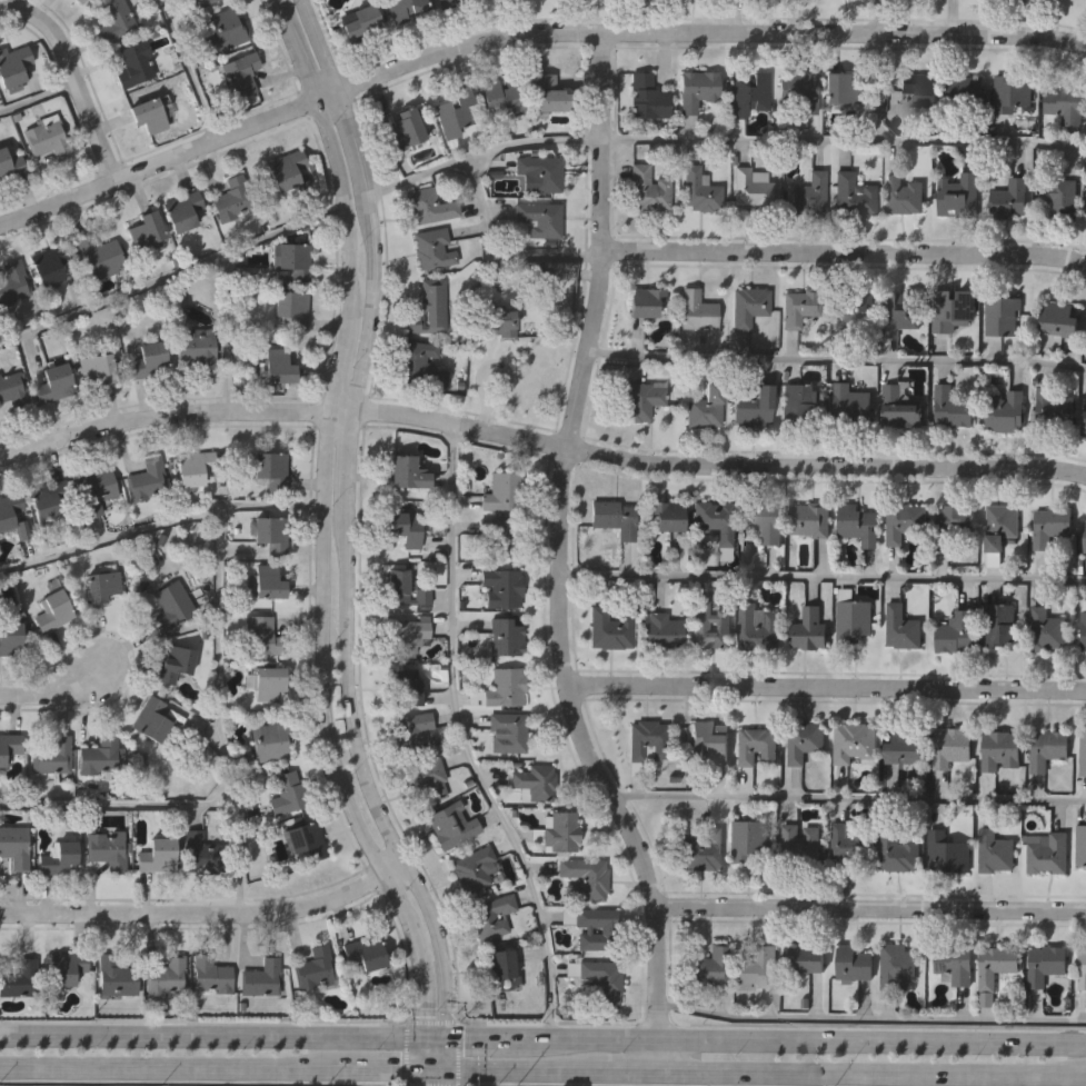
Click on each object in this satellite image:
building: (80, 0)
building: (448, 2)
building: (203, 3)
building: (405, 8)
building: (113, 20)
building: (359, 22)
building: (226, 29)
road: (526, 33)
building: (137, 63)
building: (13, 66)
road: (188, 69)
road: (876, 71)
building: (240, 72)
road: (71, 76)
building: (919, 87)
building: (840, 88)
building: (697, 89)
building: (798, 89)
building: (964, 90)
building: (1013, 91)
building: (749, 92)
building: (550, 94)
building: (501, 97)
building: (647, 97)
road: (37, 99)
building: (1066, 103)
building: (457, 110)
building: (147, 114)
building: (405, 129)
building: (46, 136)
road: (844, 142)
road: (480, 155)
building: (10, 163)
building: (288, 170)
building: (541, 172)
building: (753, 188)
building: (649, 189)
building: (699, 190)
building: (904, 193)
building: (810, 195)
building: (855, 195)
building: (959, 195)
building: (1058, 195)
building: (1010, 196)
building: (232, 198)
building: (429, 206)
building: (182, 211)
building: (540, 219)
building: (147, 229)
building: (432, 248)
road: (844, 252)
building: (100, 255)
road: (494, 257)
building: (293, 259)
building: (50, 262)
road: (172, 279)
building: (11, 280)
building: (532, 280)
building: (646, 302)
building: (749, 305)
building: (800, 306)
building: (293, 308)
building: (429, 308)
building: (698, 309)
building: (855, 309)
building: (955, 310)
building: (901, 311)
building: (1003, 316)
building: (1062, 321)
building: (494, 322)
road: (230, 331)
building: (198, 347)
building: (149, 359)
road: (836, 360)
building: (420, 365)
building: (279, 366)
building: (98, 367)
building: (54, 383)
building: (13, 386)
building: (642, 400)
building: (851, 400)
building: (799, 403)
building: (751, 405)
building: (953, 406)
building: (707, 407)
building: (900, 407)
building: (1055, 408)
building: (1006, 410)
building: (1085, 426)
road: (540, 440)
building: (271, 468)
building: (193, 469)
building: (408, 474)
building: (148, 479)
building: (96, 489)
building: (505, 490)
building: (49, 497)
building: (12, 515)
building: (666, 517)
building: (616, 518)
building: (764, 519)
building: (713, 520)
building: (810, 520)
building: (906, 521)
building: (859, 525)
building: (953, 525)
road: (159, 527)
building: (403, 527)
building: (1002, 527)
building: (1052, 527)
building: (270, 535)
building: (504, 535)
road: (321, 538)
building: (1085, 538)
road: (343, 539)
road: (557, 559)
road: (821, 578)
building: (266, 582)
building: (102, 584)
building: (402, 586)
building: (502, 586)
building: (172, 607)
building: (53, 608)
building: (853, 622)
building: (724, 626)
building: (1084, 627)
building: (1000, 628)
building: (609, 629)
building: (758, 629)
building: (904, 629)
building: (1048, 629)
building: (662, 630)
building: (809, 632)
building: (260, 635)
building: (407, 635)
building: (955, 635)
building: (505, 636)
building: (10, 638)
building: (172, 662)
building: (265, 681)
building: (405, 686)
road: (826, 686)
building: (504, 687)
road: (54, 691)
road: (219, 711)
building: (153, 720)
building: (412, 730)
building: (506, 733)
road: (461, 739)
building: (648, 739)
building: (805, 739)
building: (856, 740)
building: (268, 741)
building: (710, 741)
building: (758, 745)
building: (9, 747)
building: (905, 747)
building: (949, 748)
building: (1049, 748)
building: (1002, 749)
building: (1084, 754)
building: (53, 755)
building: (99, 755)
building: (427, 777)
building: (534, 781)
building: (286, 795)
road: (848, 798)
road: (118, 805)
building: (451, 824)
building: (560, 830)
building: (307, 838)
building: (749, 839)
building: (851, 840)
building: (801, 841)
building: (14, 845)
building: (1082, 845)
building: (108, 849)
building: (704, 849)
building: (898, 849)
building: (995, 850)
building: (199, 851)
building: (948, 851)
building: (155, 854)
building: (1050, 854)
building: (60, 856)
building: (474, 868)
building: (584, 879)
road: (869, 907)
road: (207, 911)
building: (490, 916)
building: (605, 930)
building: (363, 952)
building: (807, 956)
building: (853, 963)
building: (498, 964)
building: (711, 965)
building: (897, 965)
building: (954, 965)
building: (996, 965)
building: (1045, 965)
building: (67, 967)
building: (312, 967)
building: (756, 967)
building: (1082, 969)
building: (208, 975)
building: (116, 976)
building: (166, 976)
building: (20, 978)
building: (261, 978)
building: (600, 980)
road: (870, 1022)
traffic signals: (418, 1038)
traffic signals: (442, 1038)
road: (542, 1038)
road: (171, 1072)
road: (380, 1074)
traffic signals: (419, 1074)
road: (430, 1074)
road: (518, 1074)
road: (626, 1074)
traffic signals: (442, 1075)
road: (871, 1075)
road: (419, 1079)
road: (442, 1080)

